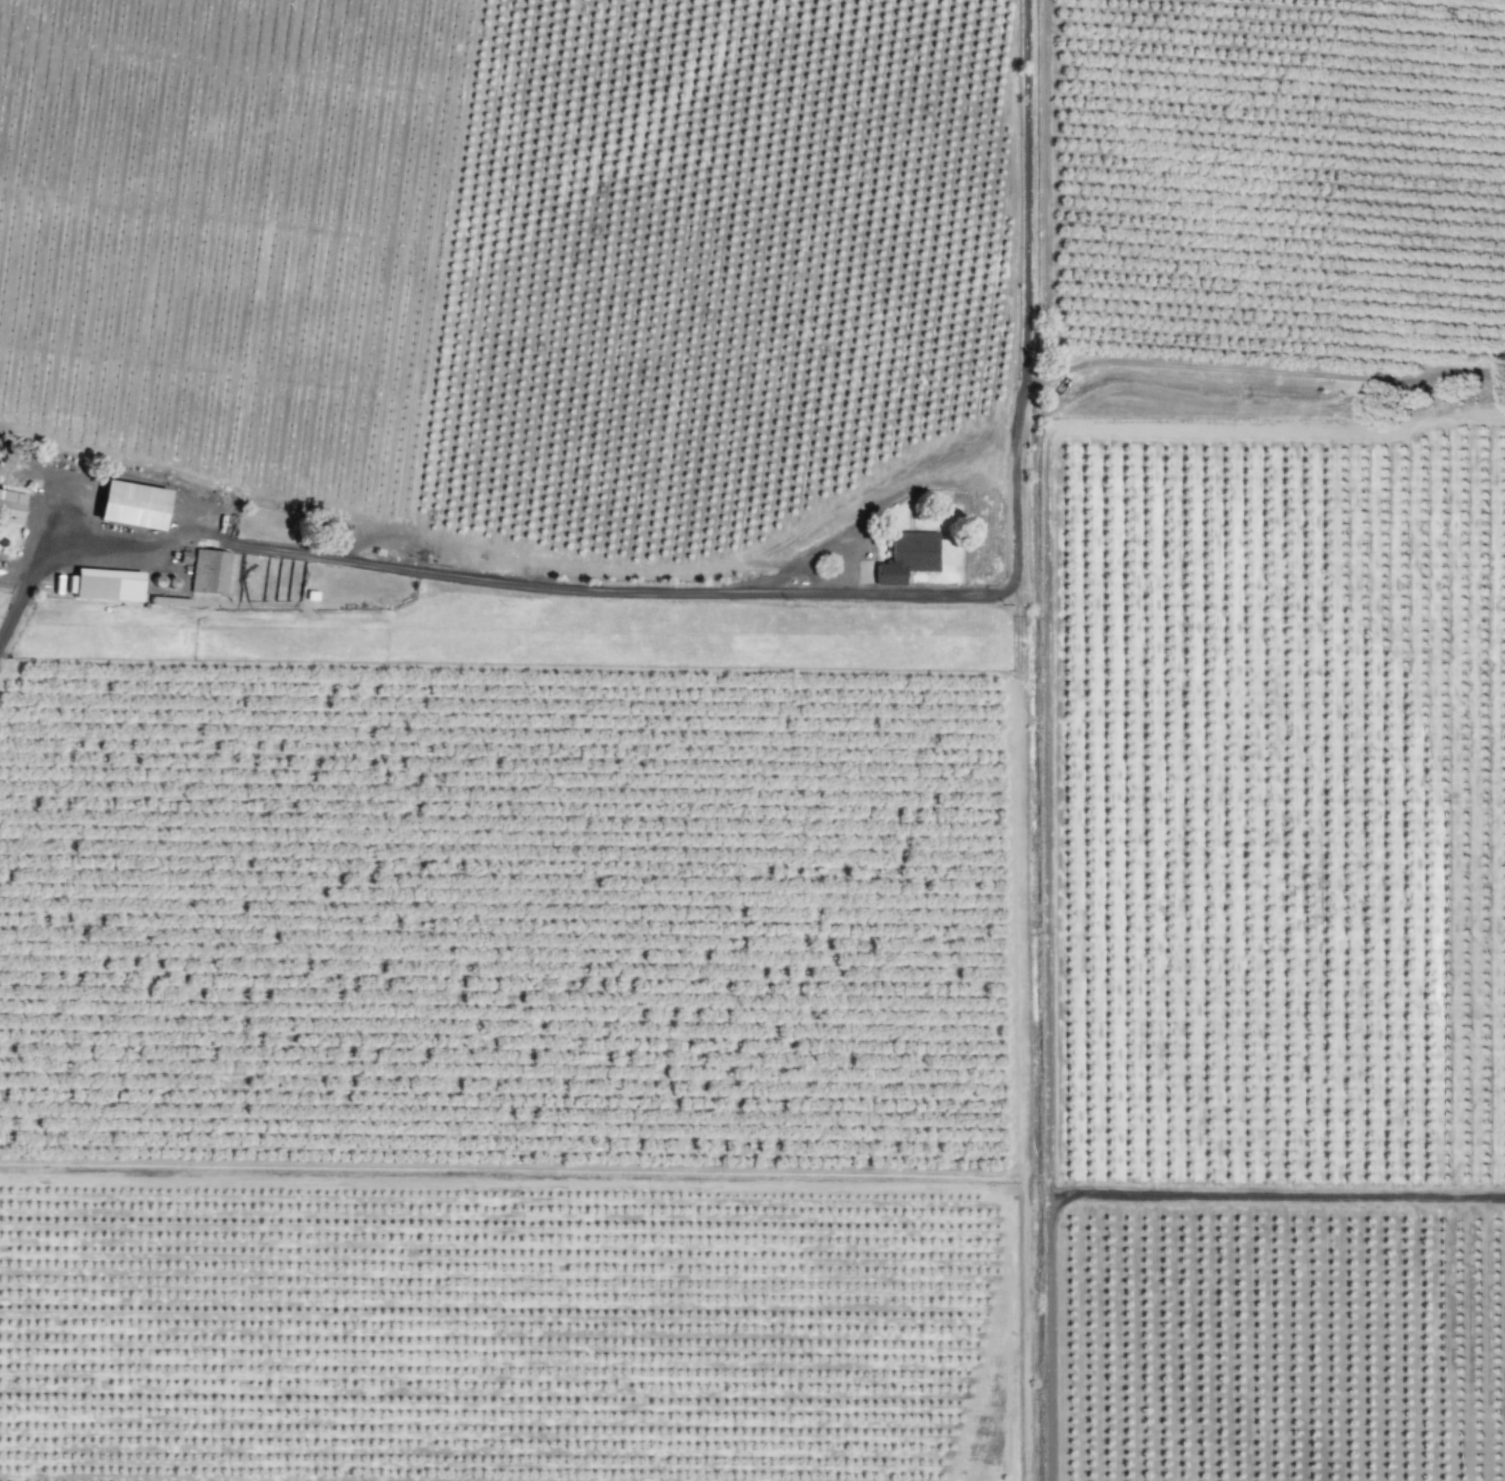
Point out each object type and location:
building: (120, 507)
building: (8, 508)
building: (902, 557)
building: (206, 574)
building: (98, 586)
road: (10, 618)
road: (1276, 1196)

